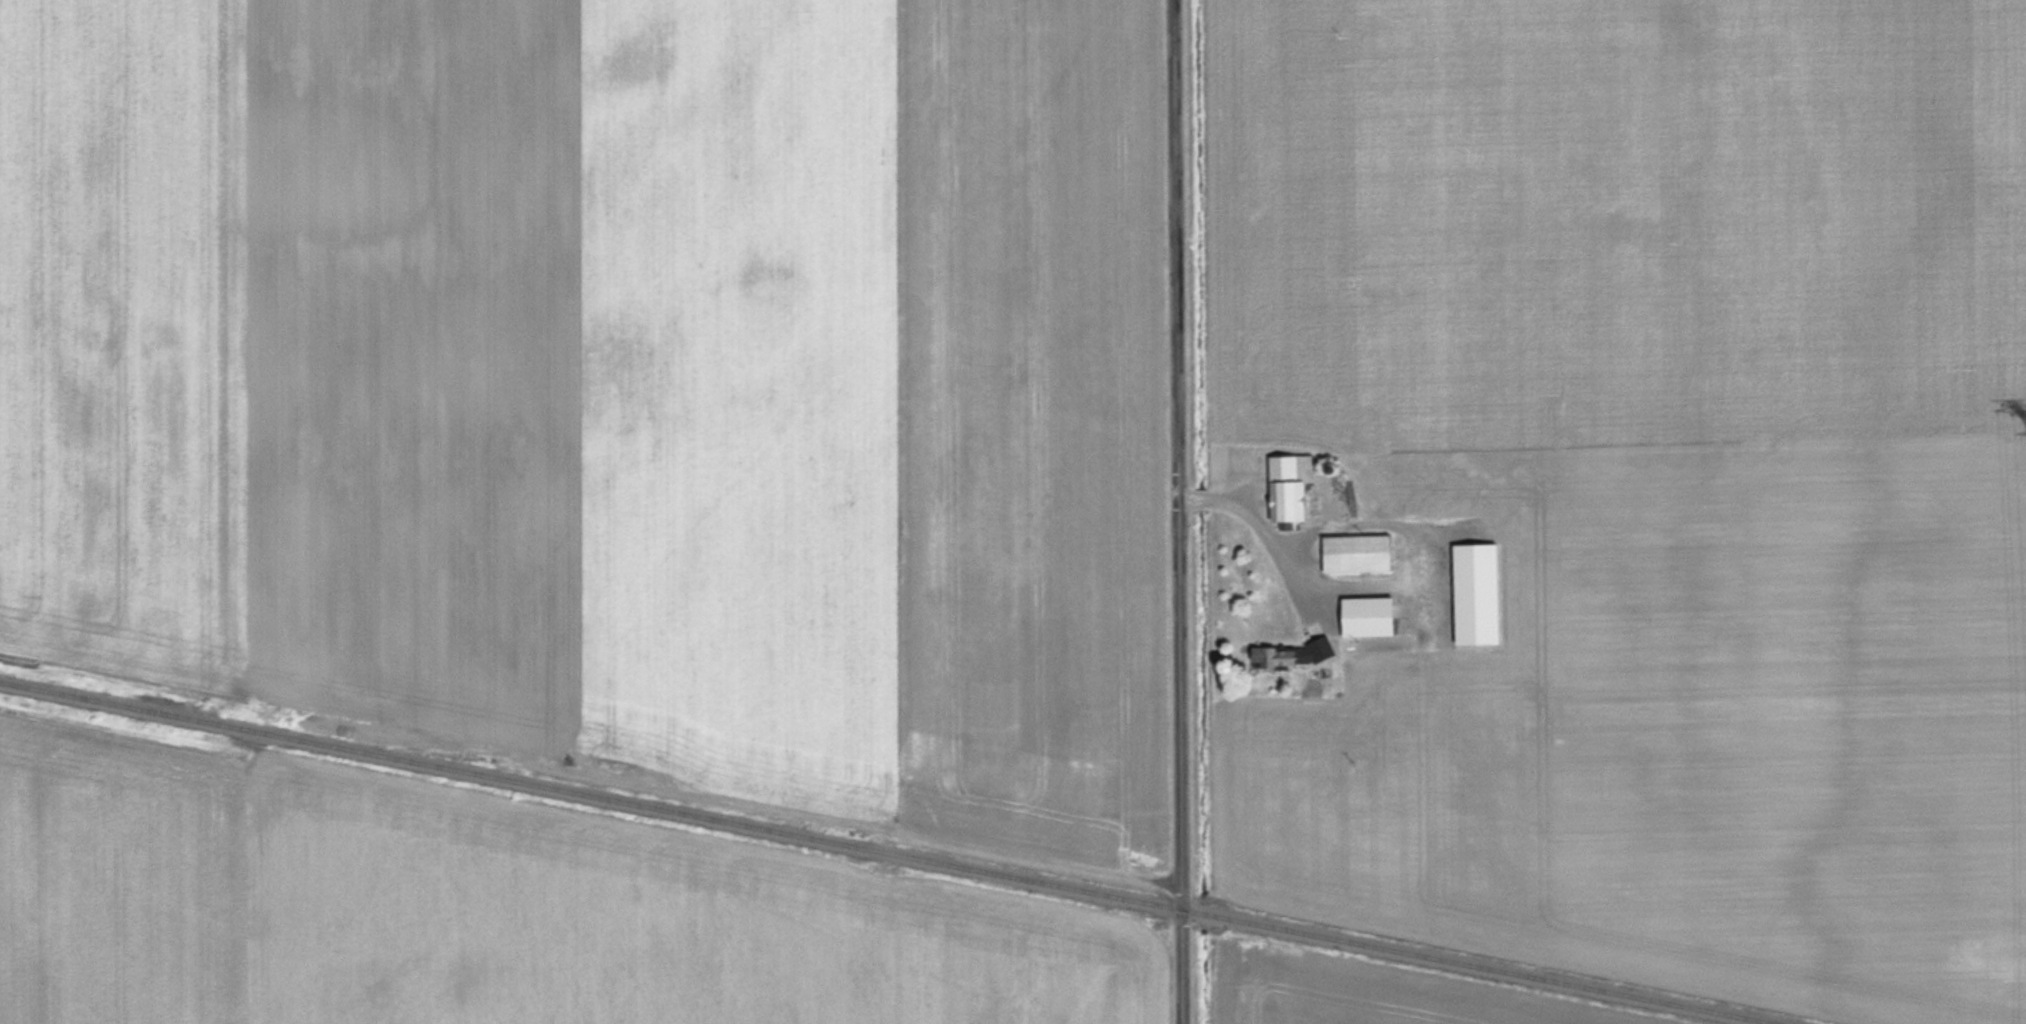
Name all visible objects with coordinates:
building: (1286, 488)
road: (1179, 512)
road: (1263, 524)
building: (1354, 550)
building: (1362, 617)
building: (1287, 653)
railway: (591, 794)
railway: (1481, 966)

